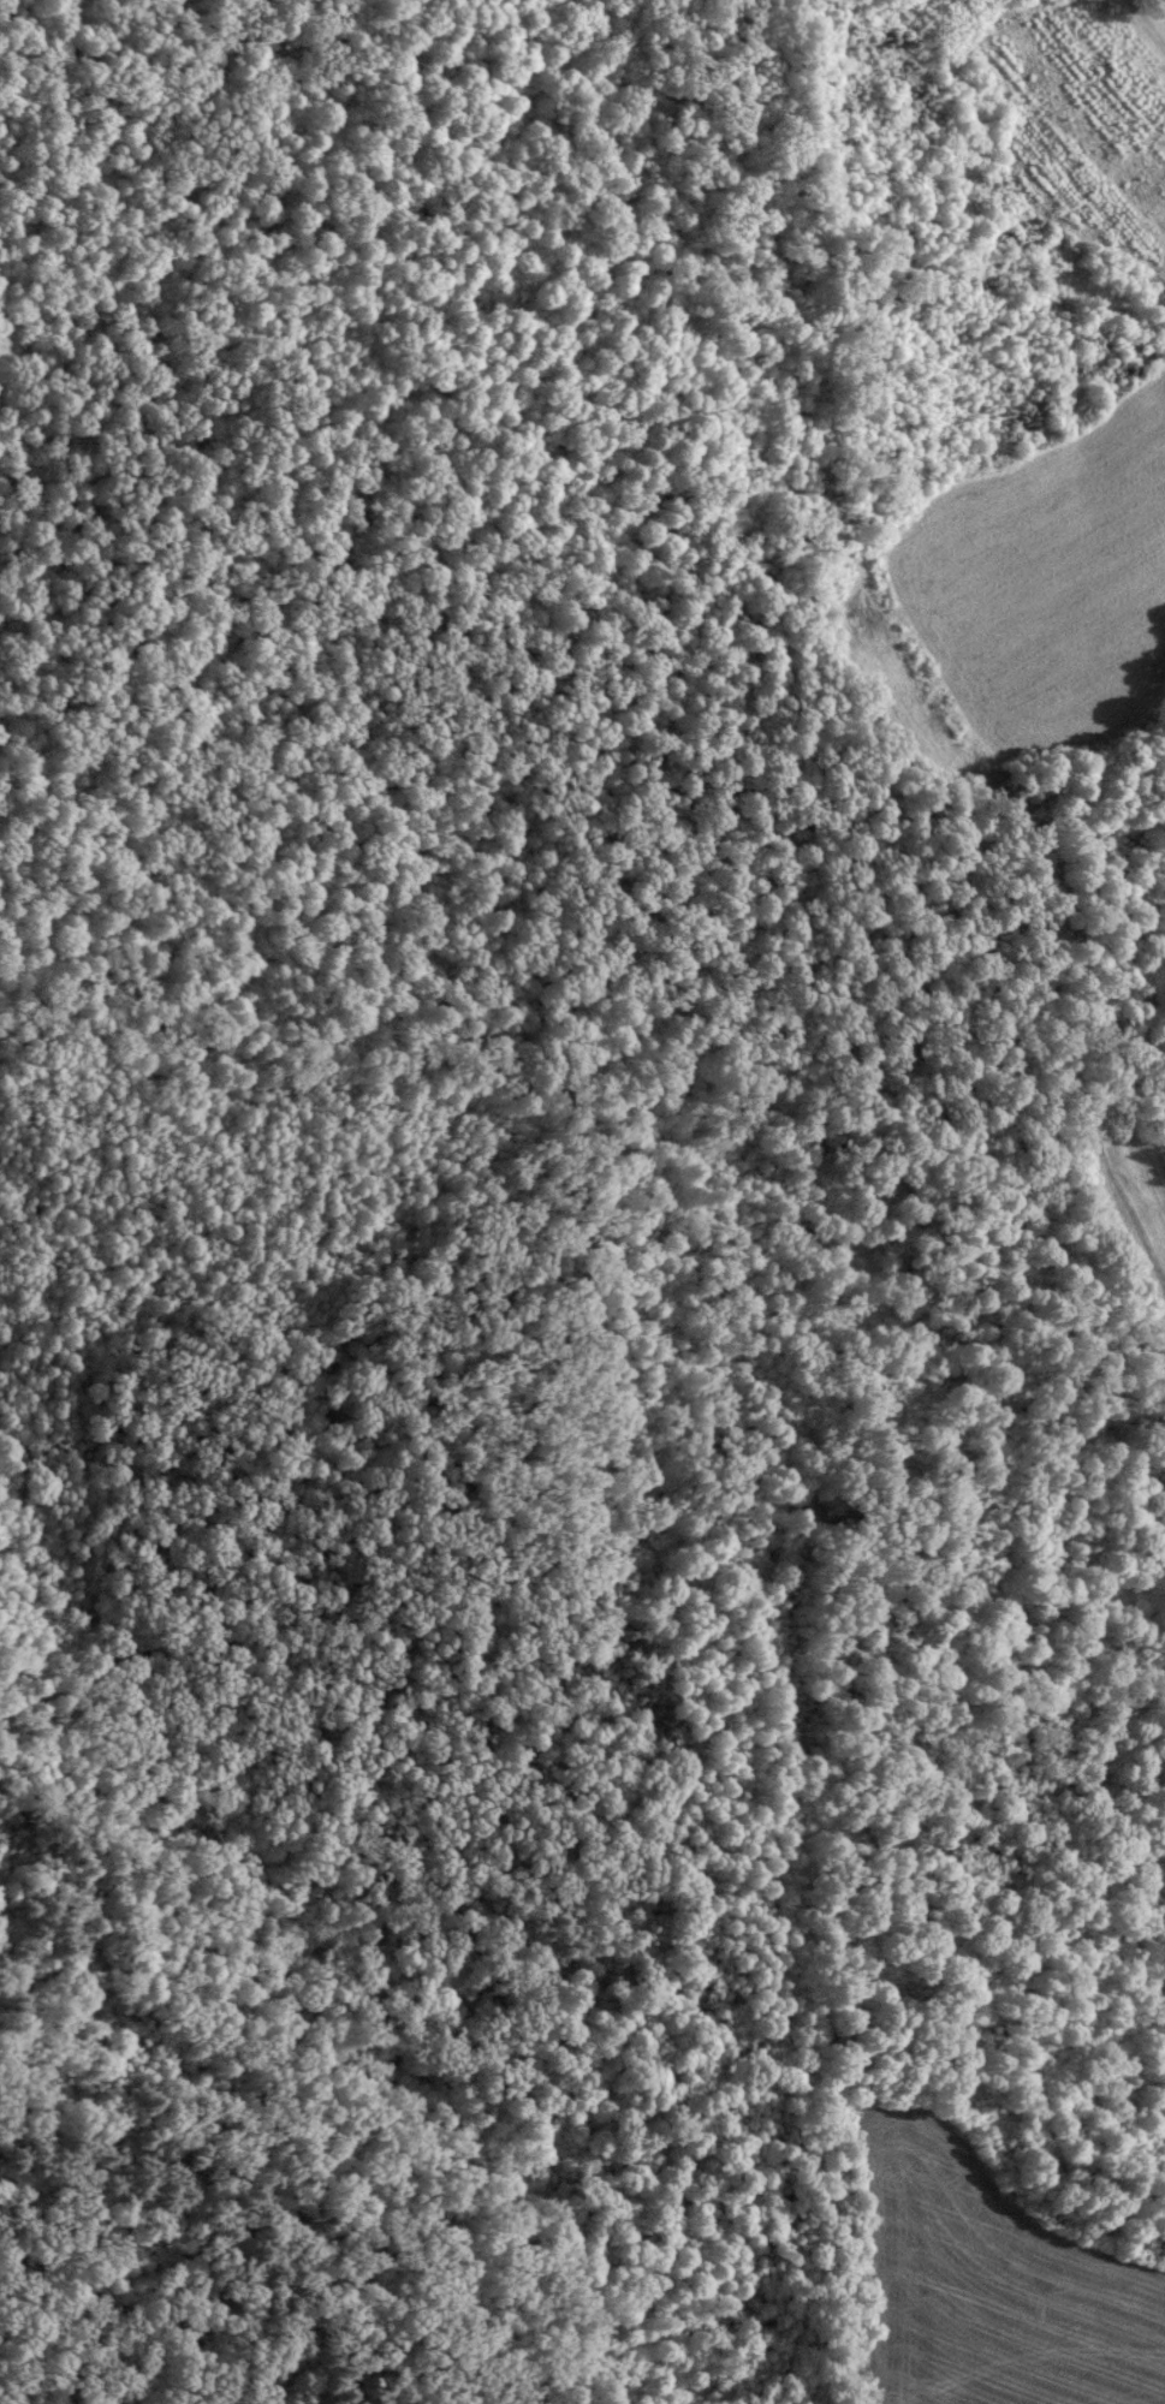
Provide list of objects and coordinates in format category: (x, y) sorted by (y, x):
road: (1164, 0)

